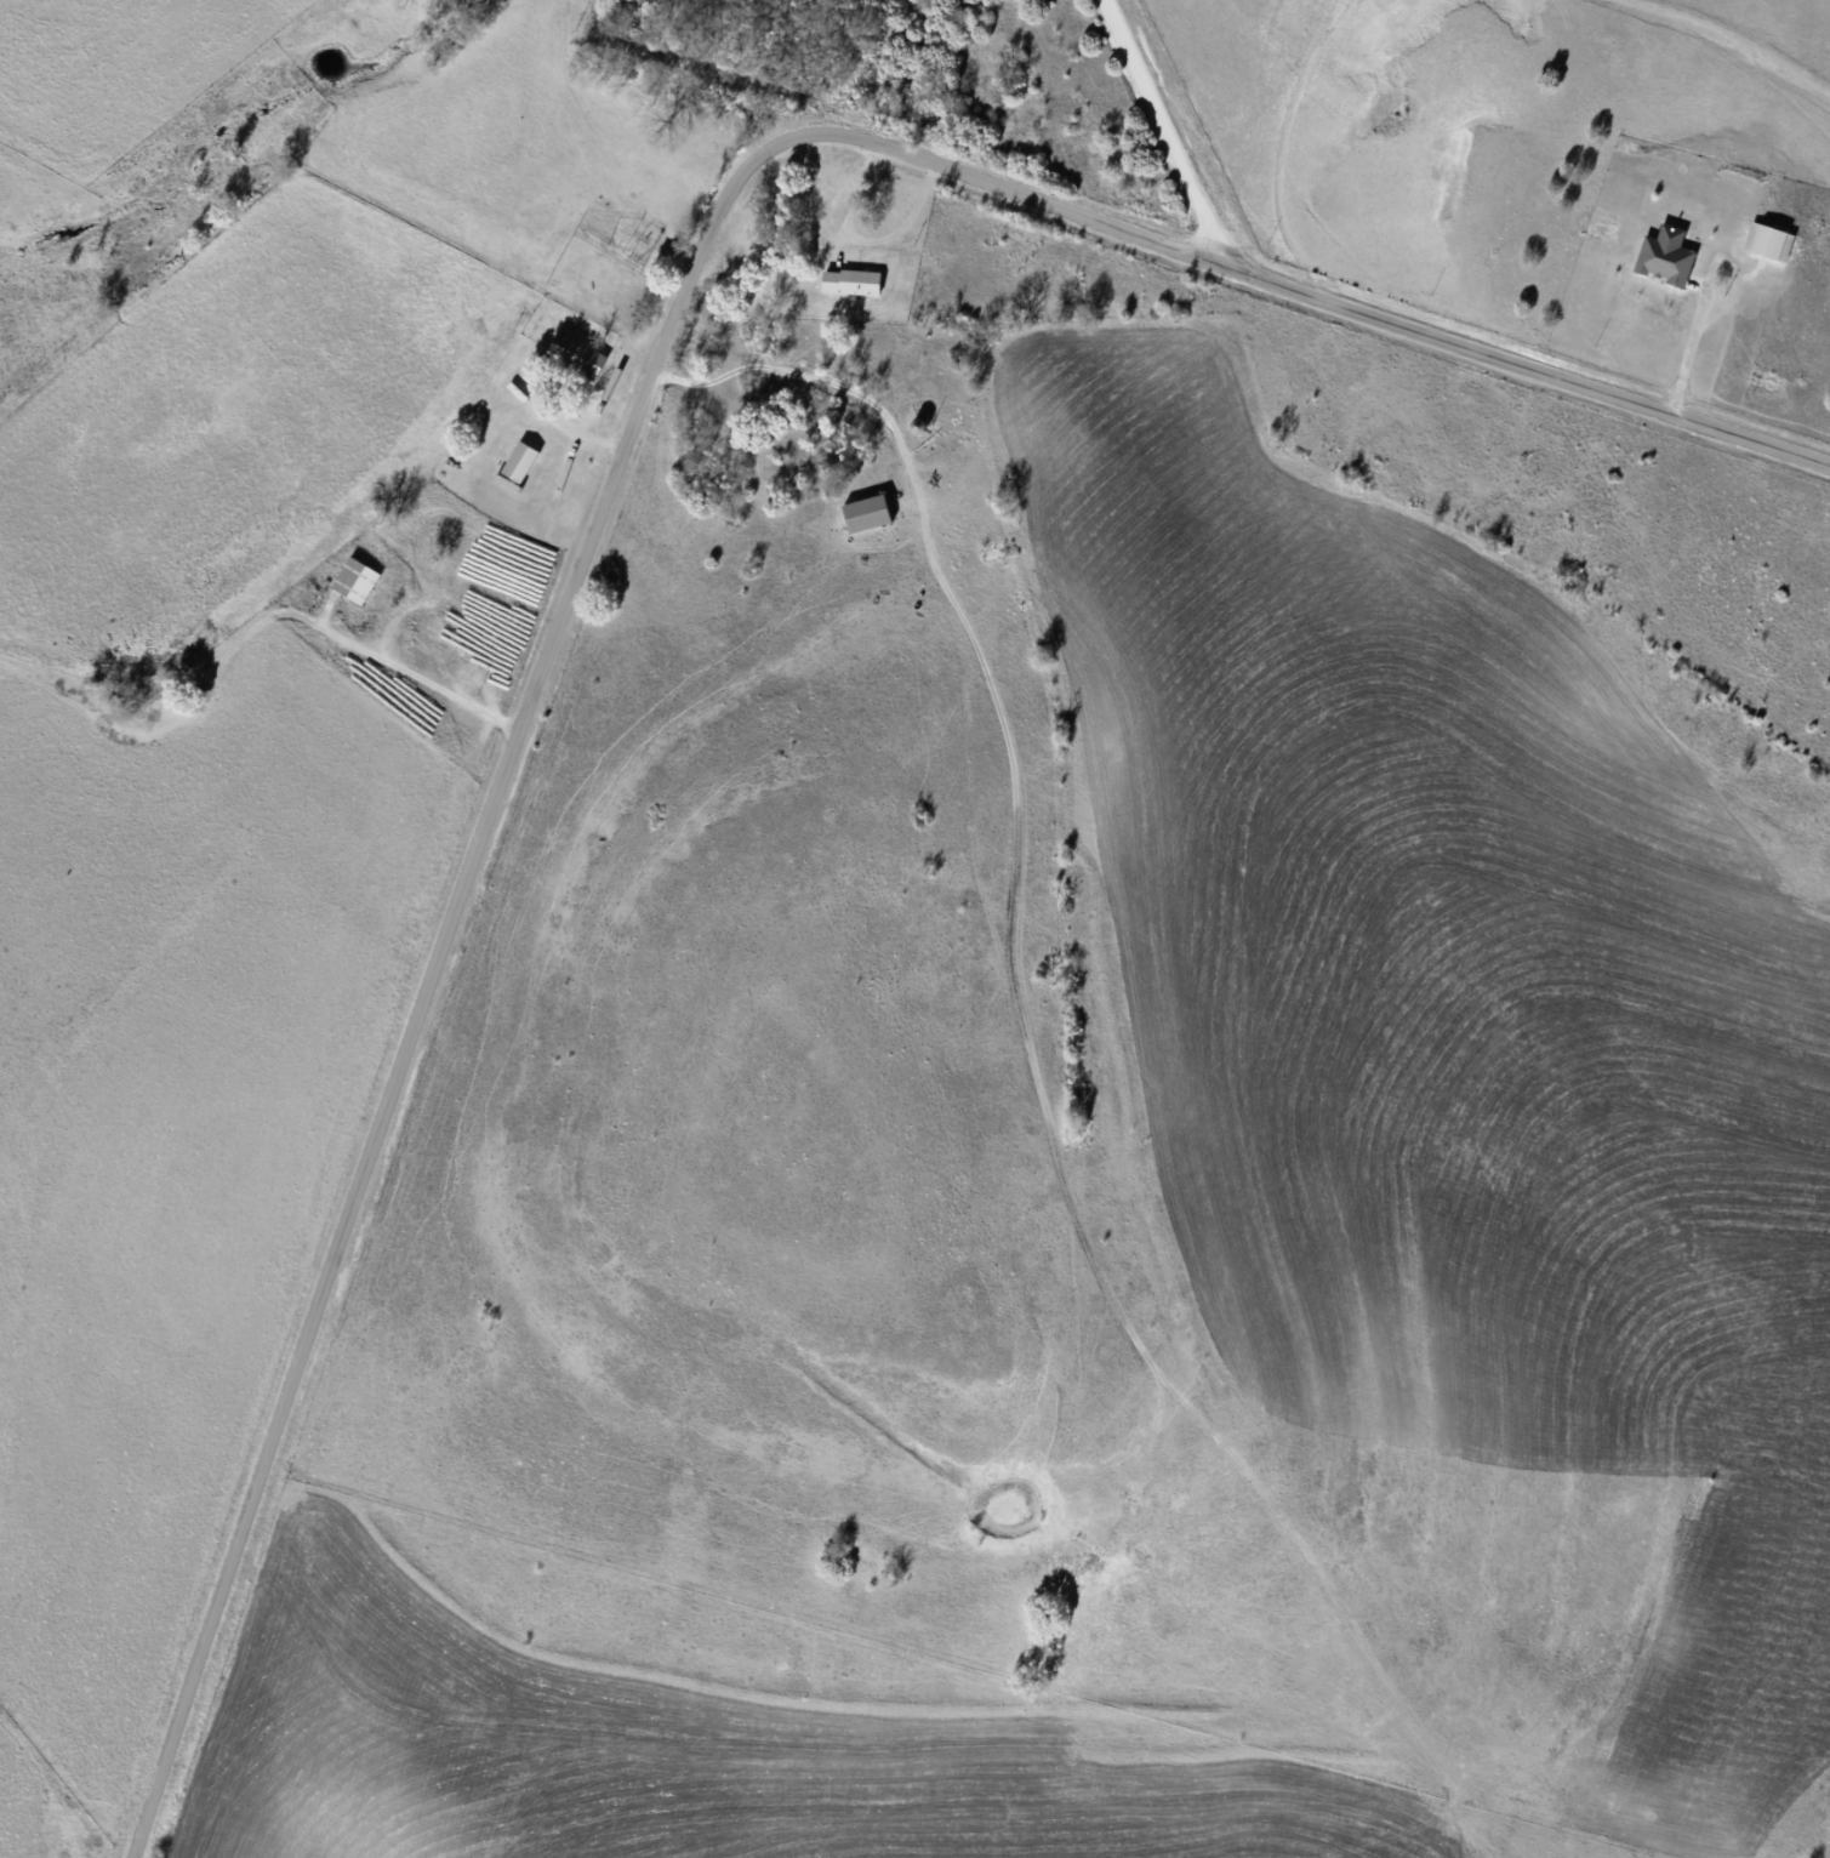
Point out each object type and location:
road: (1162, 129)
building: (629, 249)
building: (1664, 262)
building: (850, 281)
building: (576, 355)
building: (918, 426)
building: (519, 462)
road: (615, 464)
building: (867, 513)
building: (355, 580)

